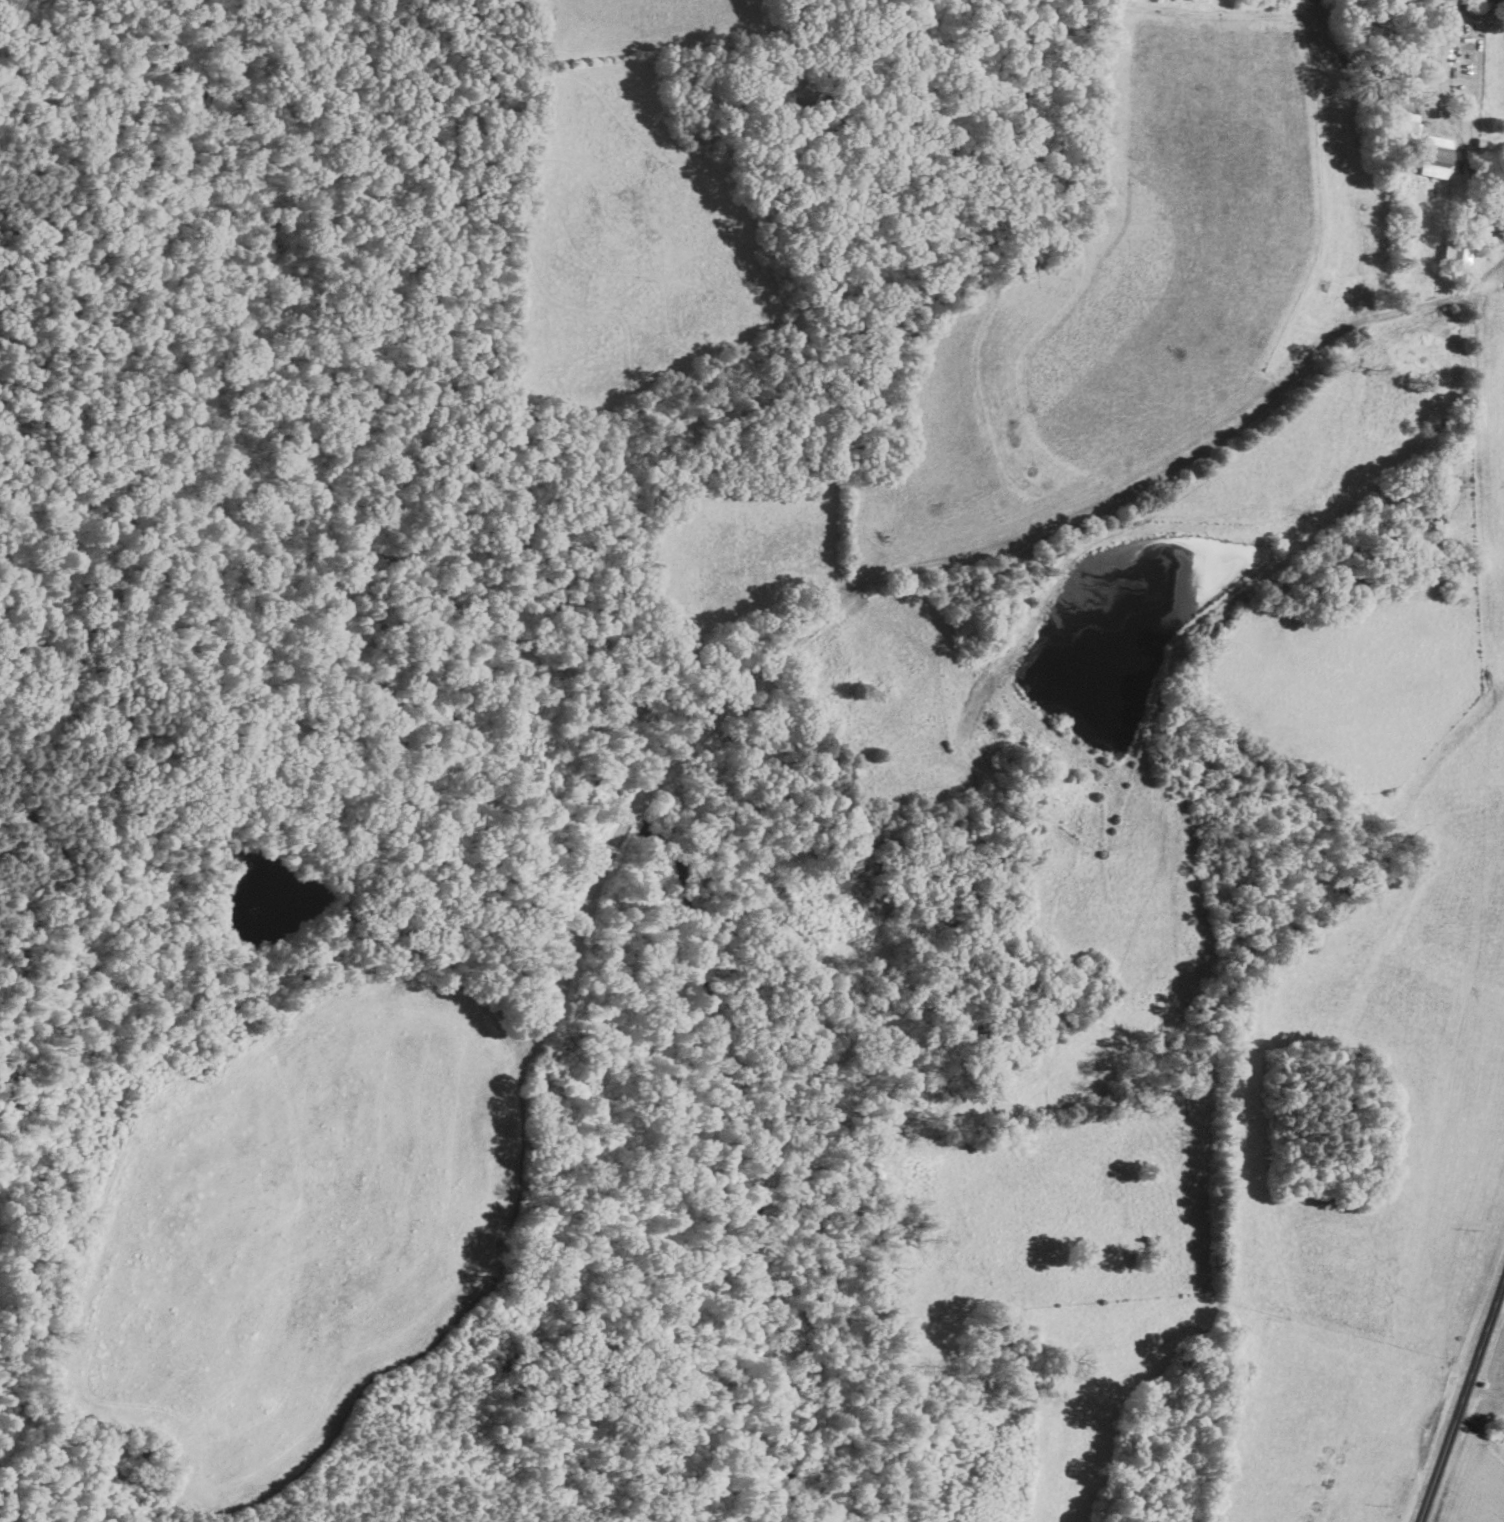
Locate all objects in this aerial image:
road: (1480, 12)
road: (1452, 124)
building: (1436, 156)
building: (1457, 255)
road: (1474, 283)
road: (1463, 1402)

